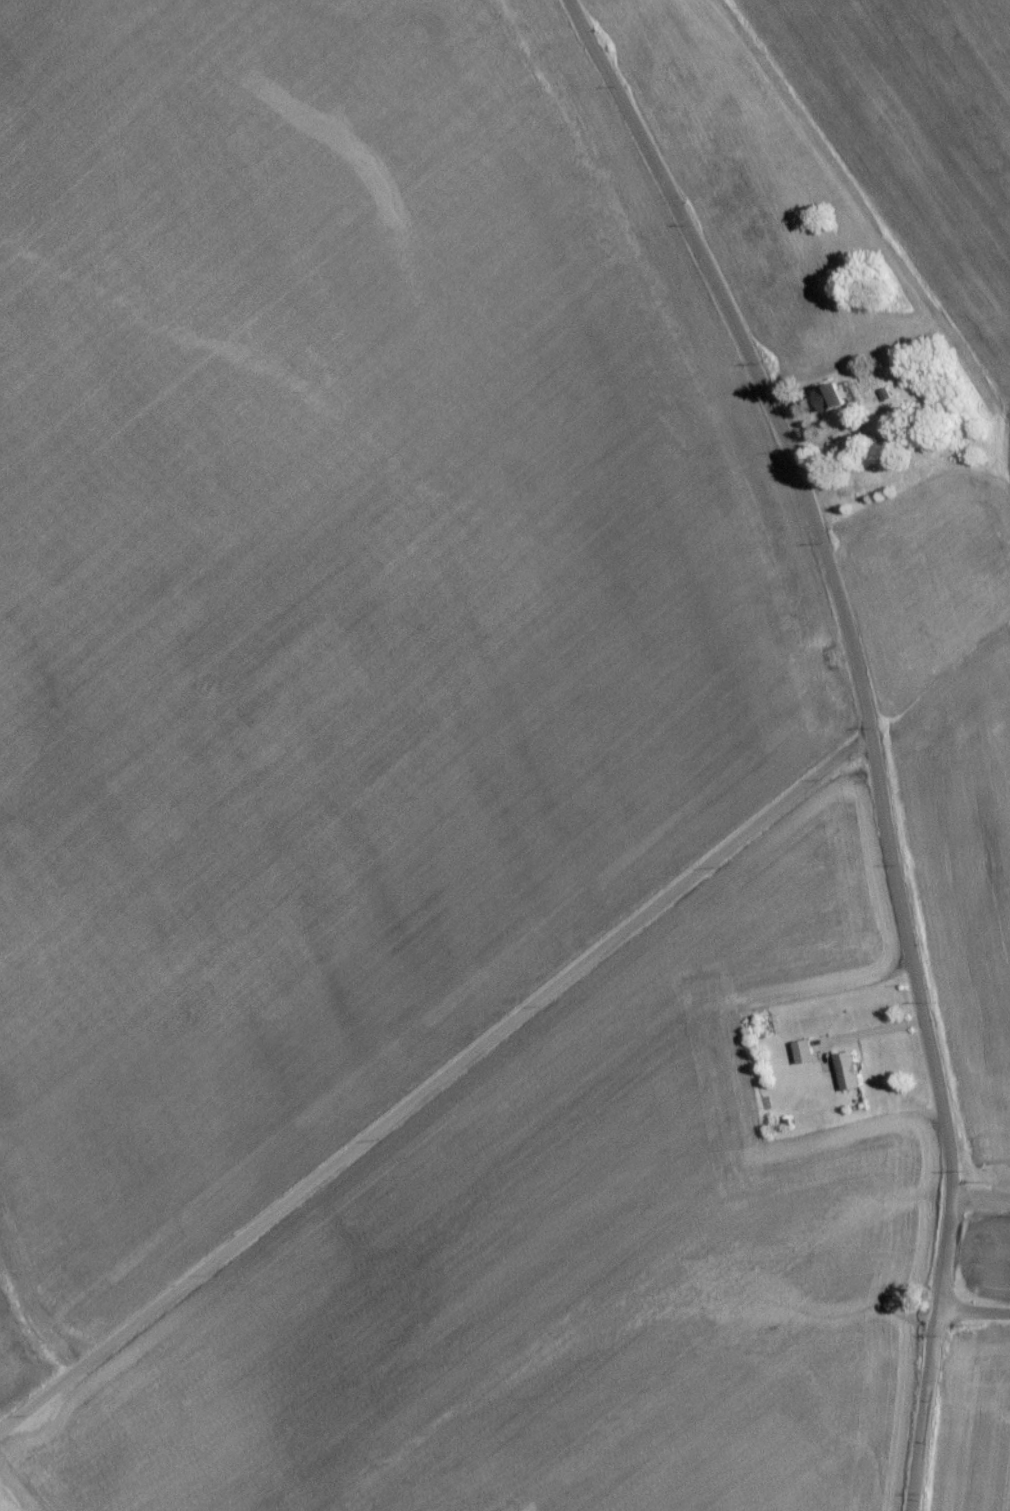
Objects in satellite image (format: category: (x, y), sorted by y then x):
building: (835, 403)
road: (864, 729)
building: (805, 1057)
building: (848, 1077)
road: (432, 1092)
road: (981, 1202)
road: (972, 1316)

